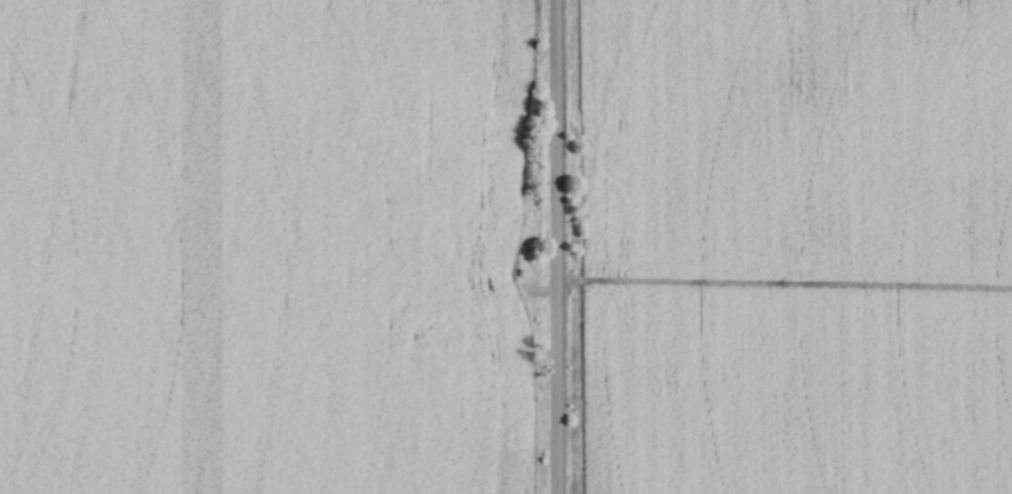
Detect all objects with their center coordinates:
road: (549, 246)

